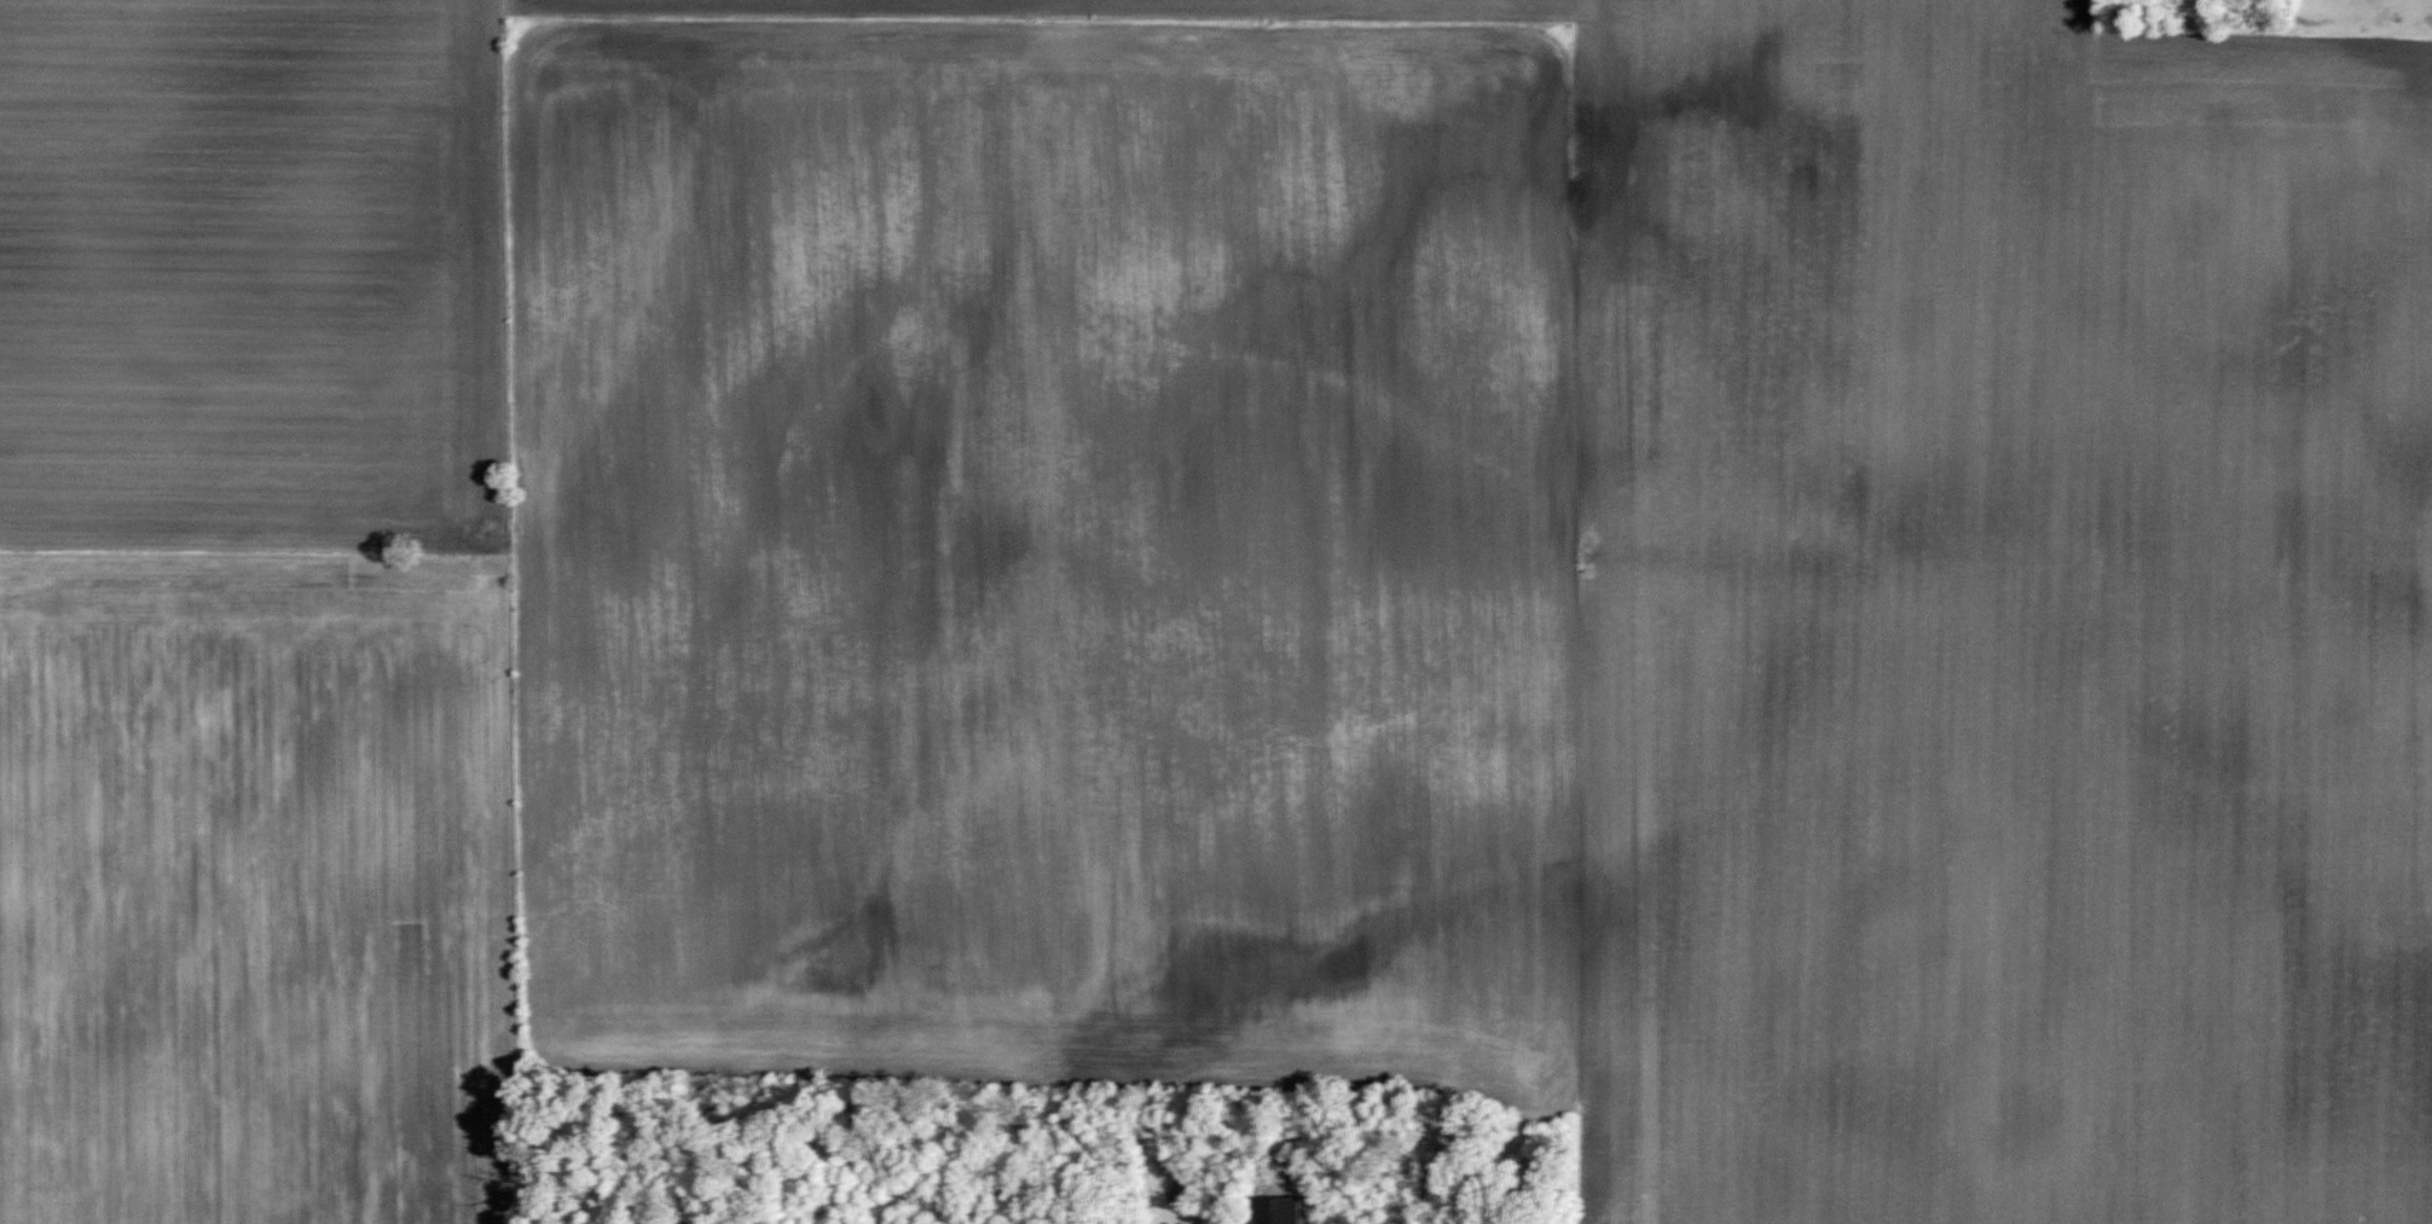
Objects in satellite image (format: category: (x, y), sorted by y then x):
building: (1274, 1211)

